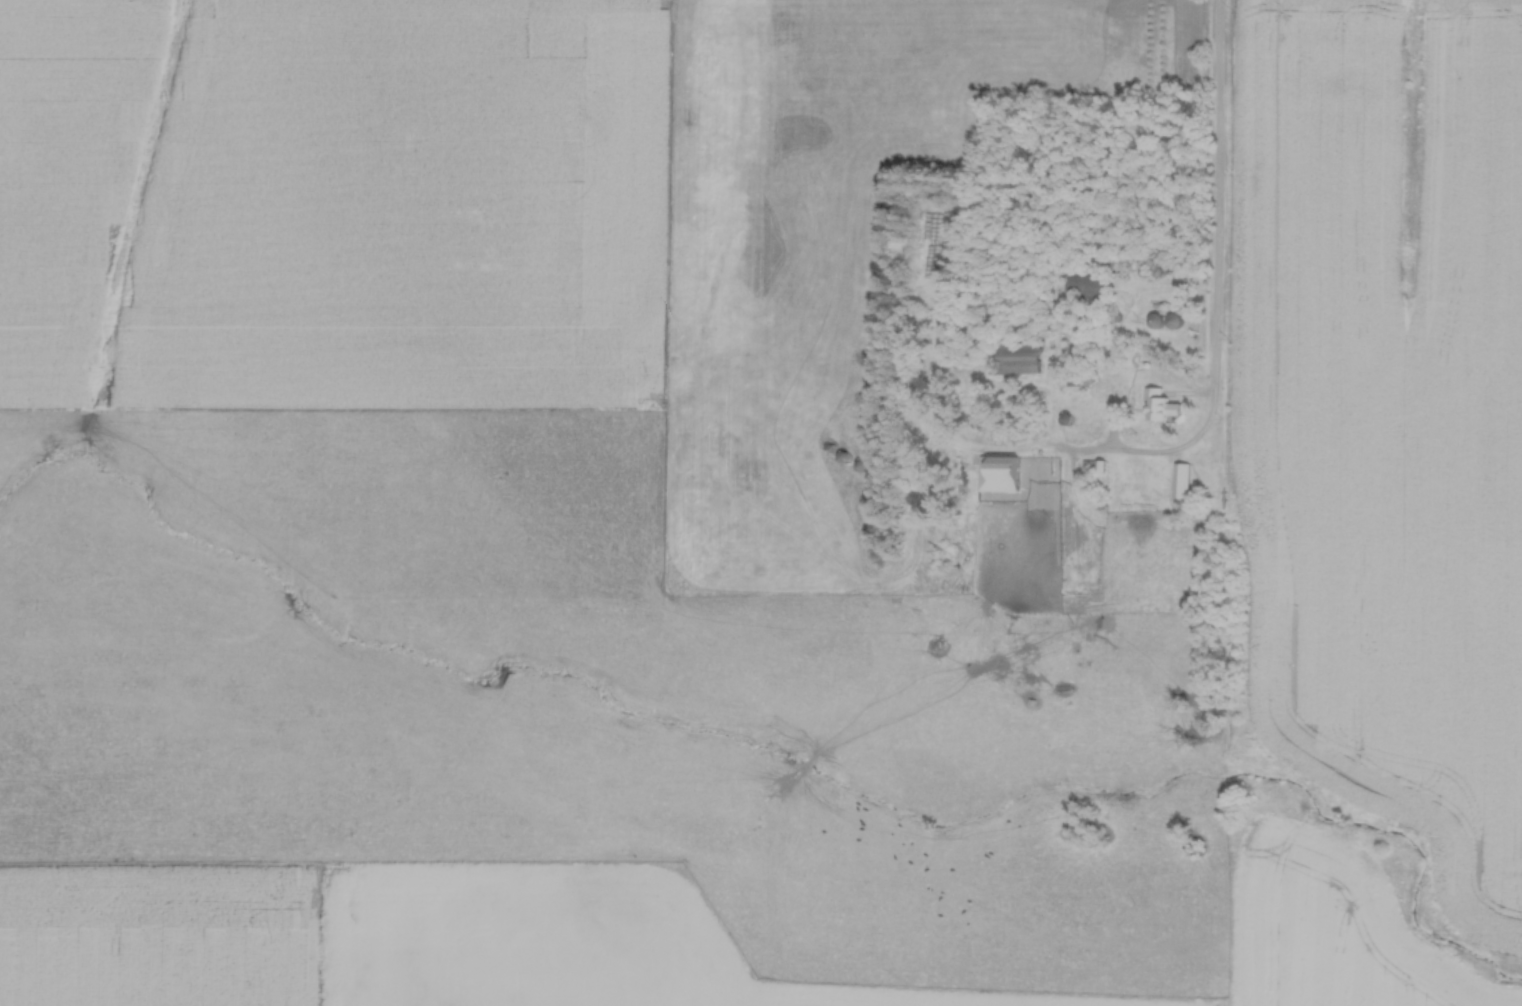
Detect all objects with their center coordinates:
building: (1082, 283)
road: (1220, 331)
building: (1160, 405)
building: (994, 478)
building: (1182, 479)

